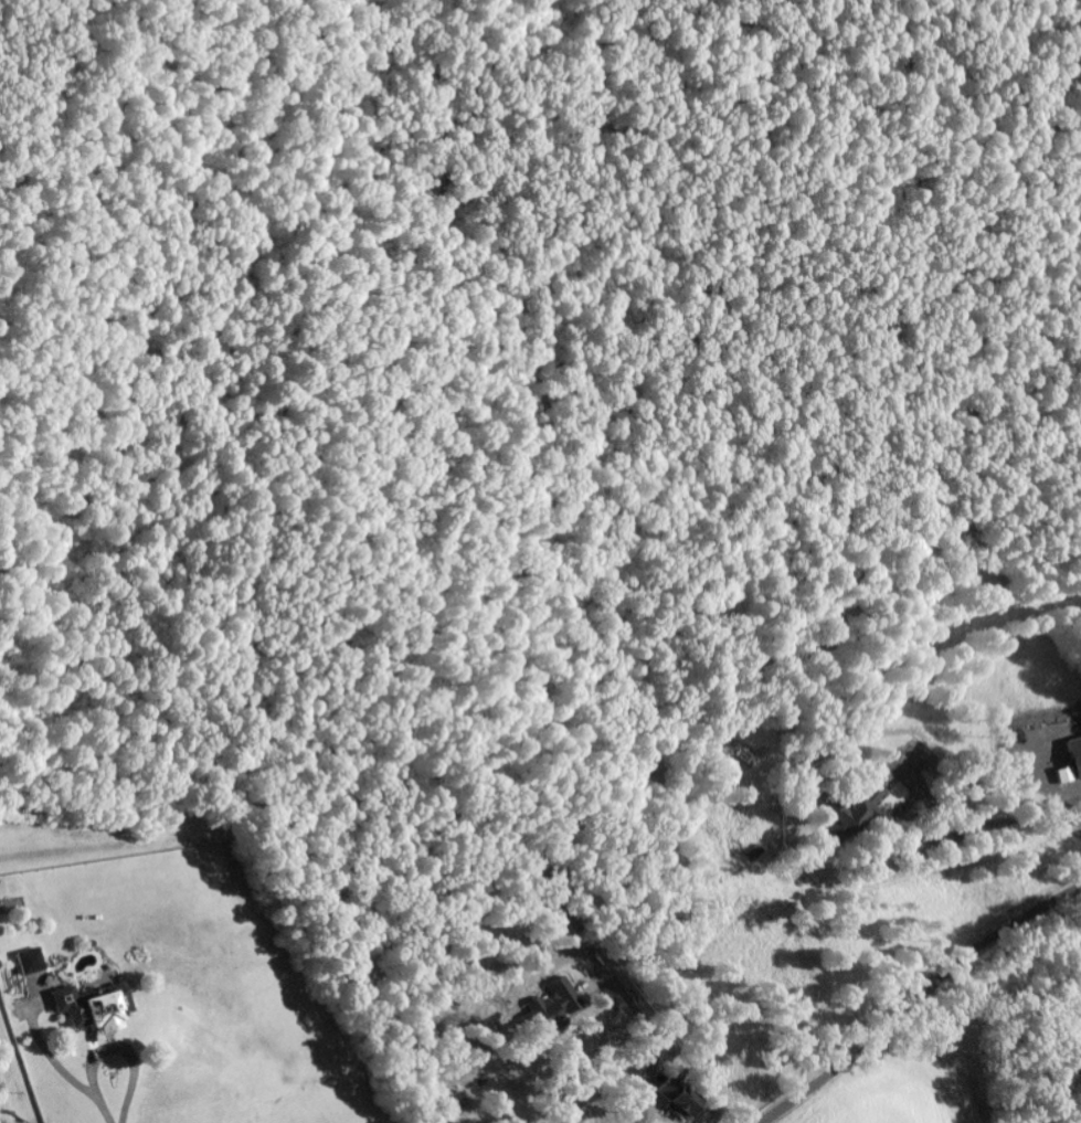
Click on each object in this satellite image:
building: (1070, 763)
building: (856, 807)
building: (727, 864)
building: (29, 963)
road: (920, 1003)
building: (87, 1008)
building: (548, 1009)
building: (674, 1100)
road: (6, 1114)

